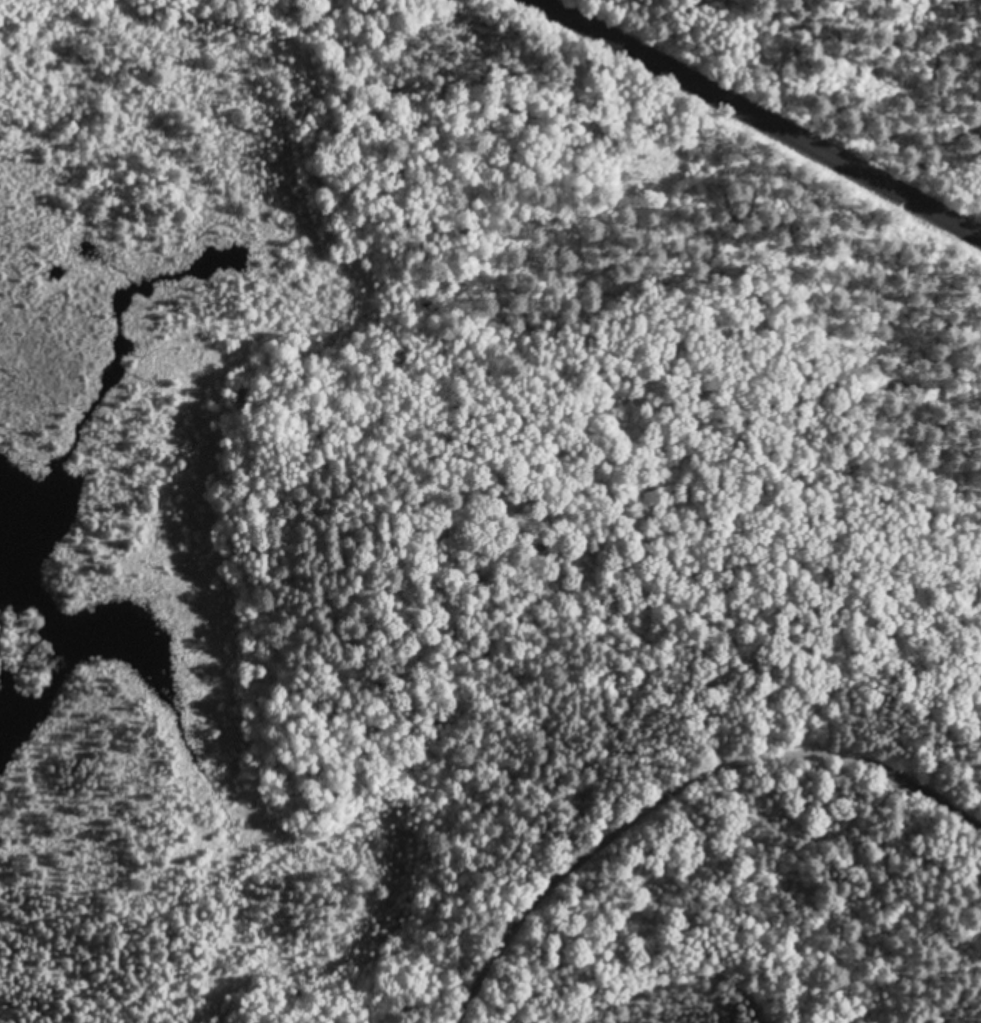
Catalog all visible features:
road: (758, 123)
road: (378, 678)

